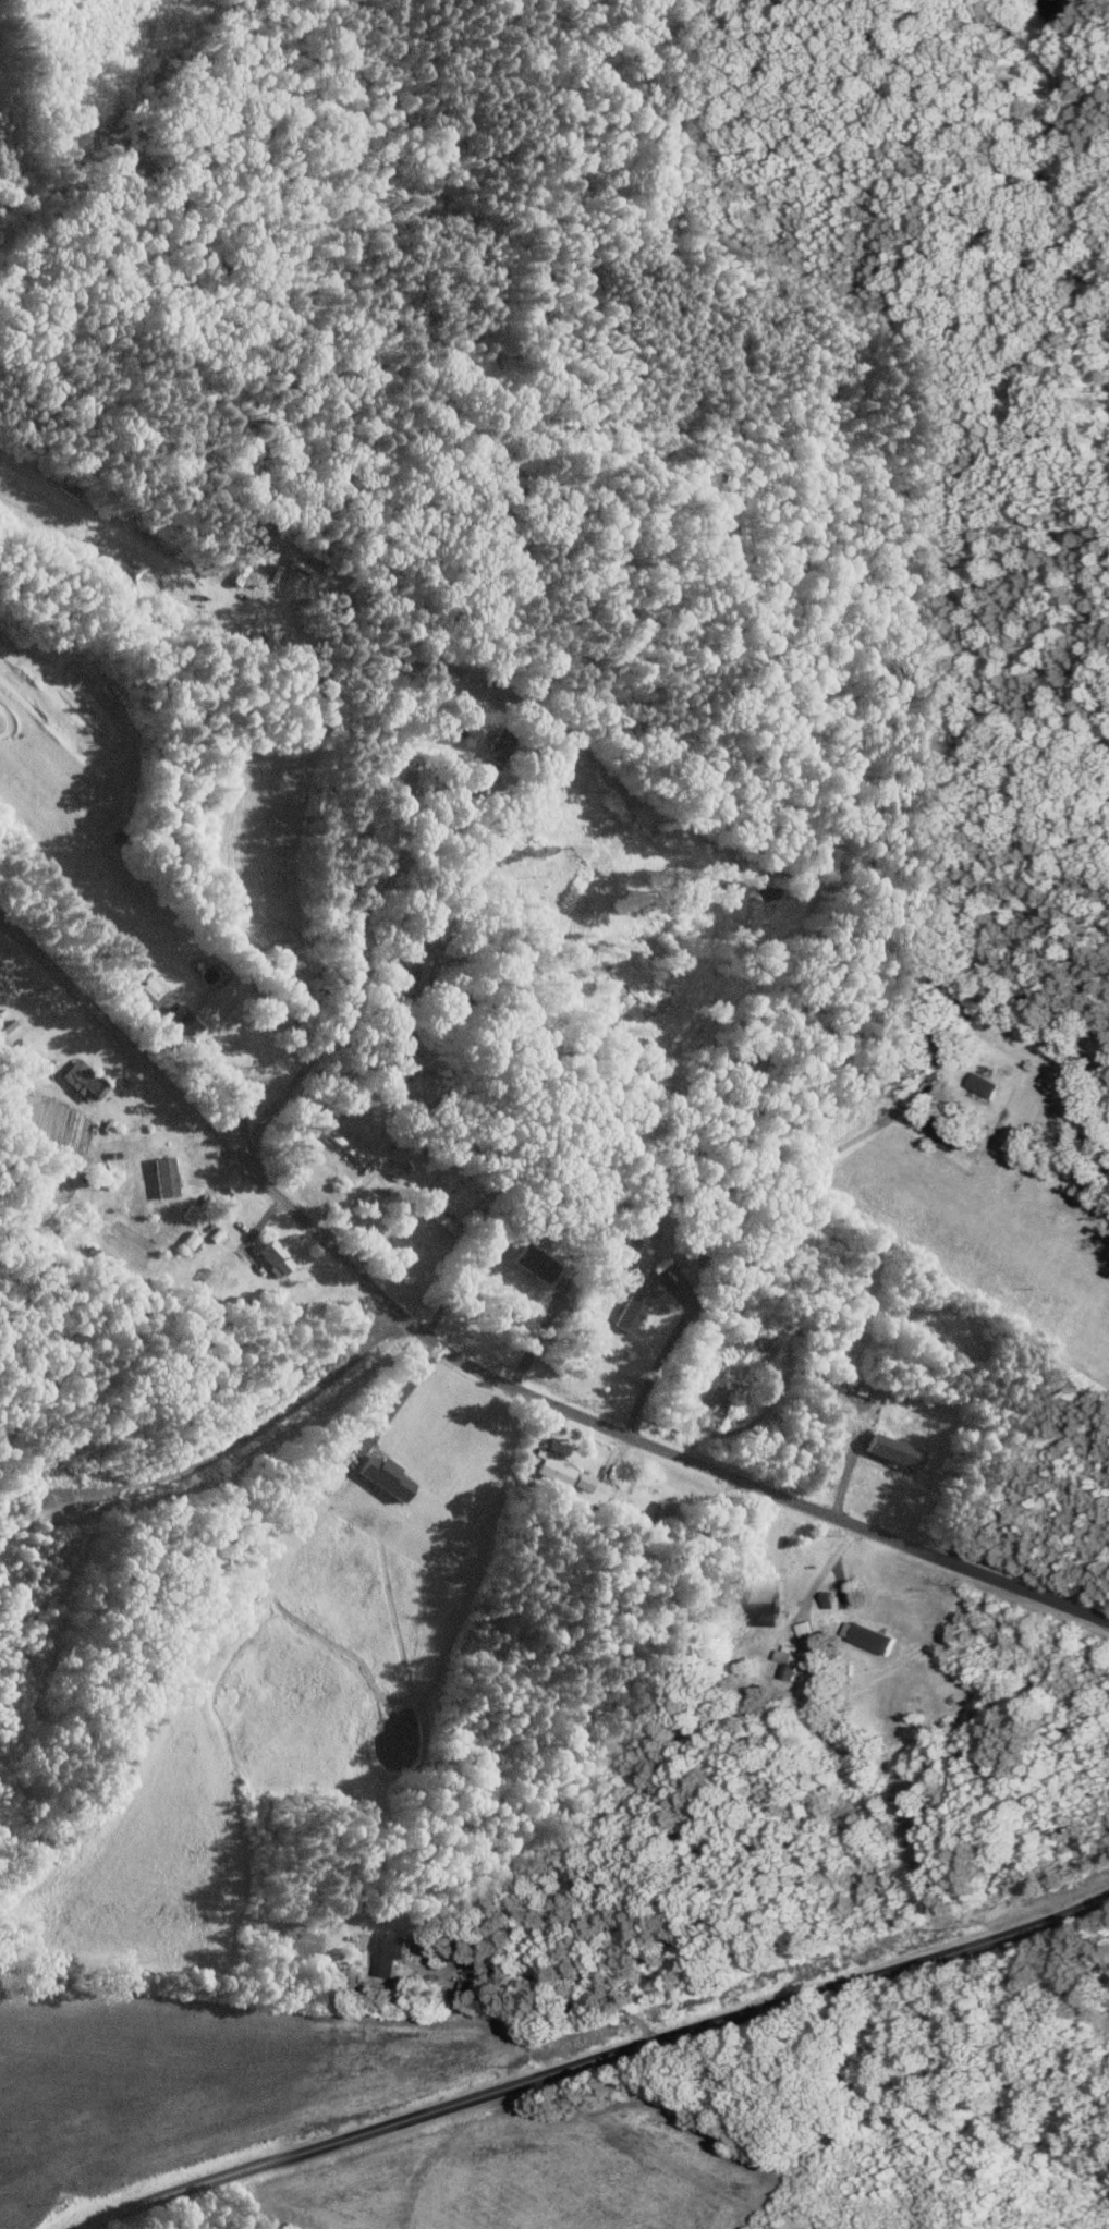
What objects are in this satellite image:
building: (498, 751)
road: (350, 978)
building: (211, 1006)
road: (120, 1036)
building: (81, 1081)
road: (228, 1084)
building: (983, 1084)
building: (945, 1137)
building: (344, 1143)
building: (163, 1177)
building: (191, 1214)
building: (190, 1240)
road: (748, 1249)
building: (273, 1257)
building: (534, 1263)
building: (648, 1283)
road: (376, 1293)
road: (451, 1294)
building: (629, 1314)
road: (538, 1338)
road: (398, 1401)
road: (243, 1439)
building: (892, 1451)
building: (554, 1473)
building: (584, 1483)
building: (662, 1512)
road: (819, 1512)
road: (827, 1570)
building: (826, 1598)
building: (766, 1601)
building: (803, 1629)
building: (867, 1636)
building: (791, 1660)
building: (389, 1954)
road: (562, 1992)
road: (595, 2058)

